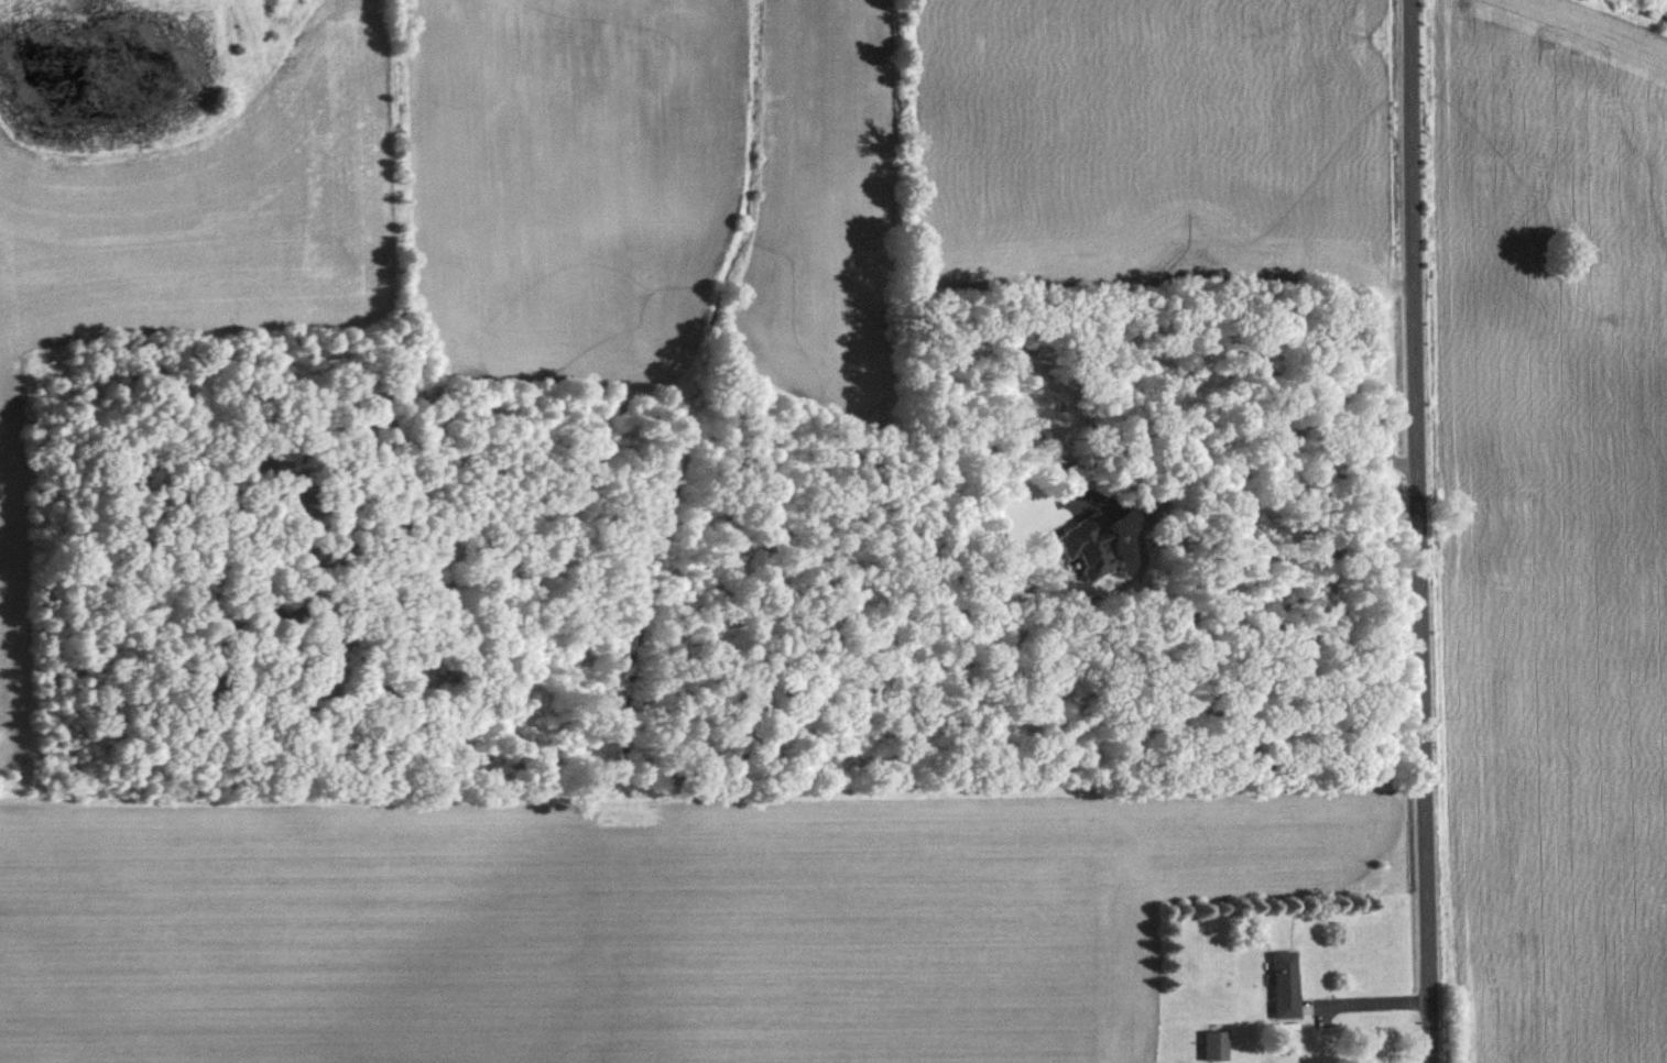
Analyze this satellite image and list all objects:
road: (1289, 419)
road: (1414, 531)
building: (1087, 545)
building: (1286, 986)
road: (1354, 995)
building: (1216, 1048)

